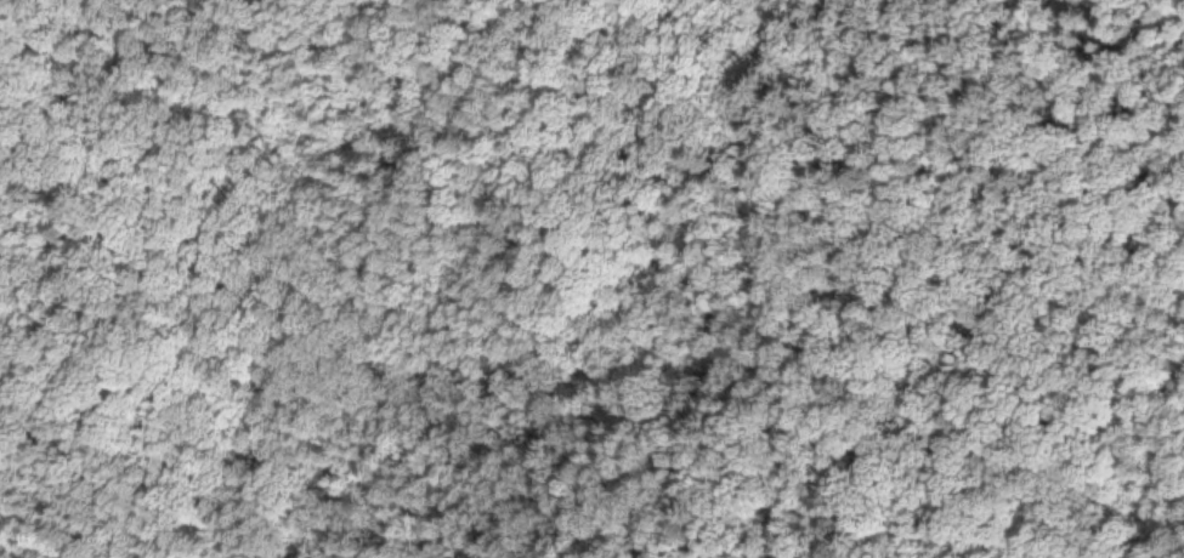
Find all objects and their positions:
road: (421, 300)
road: (27, 550)

